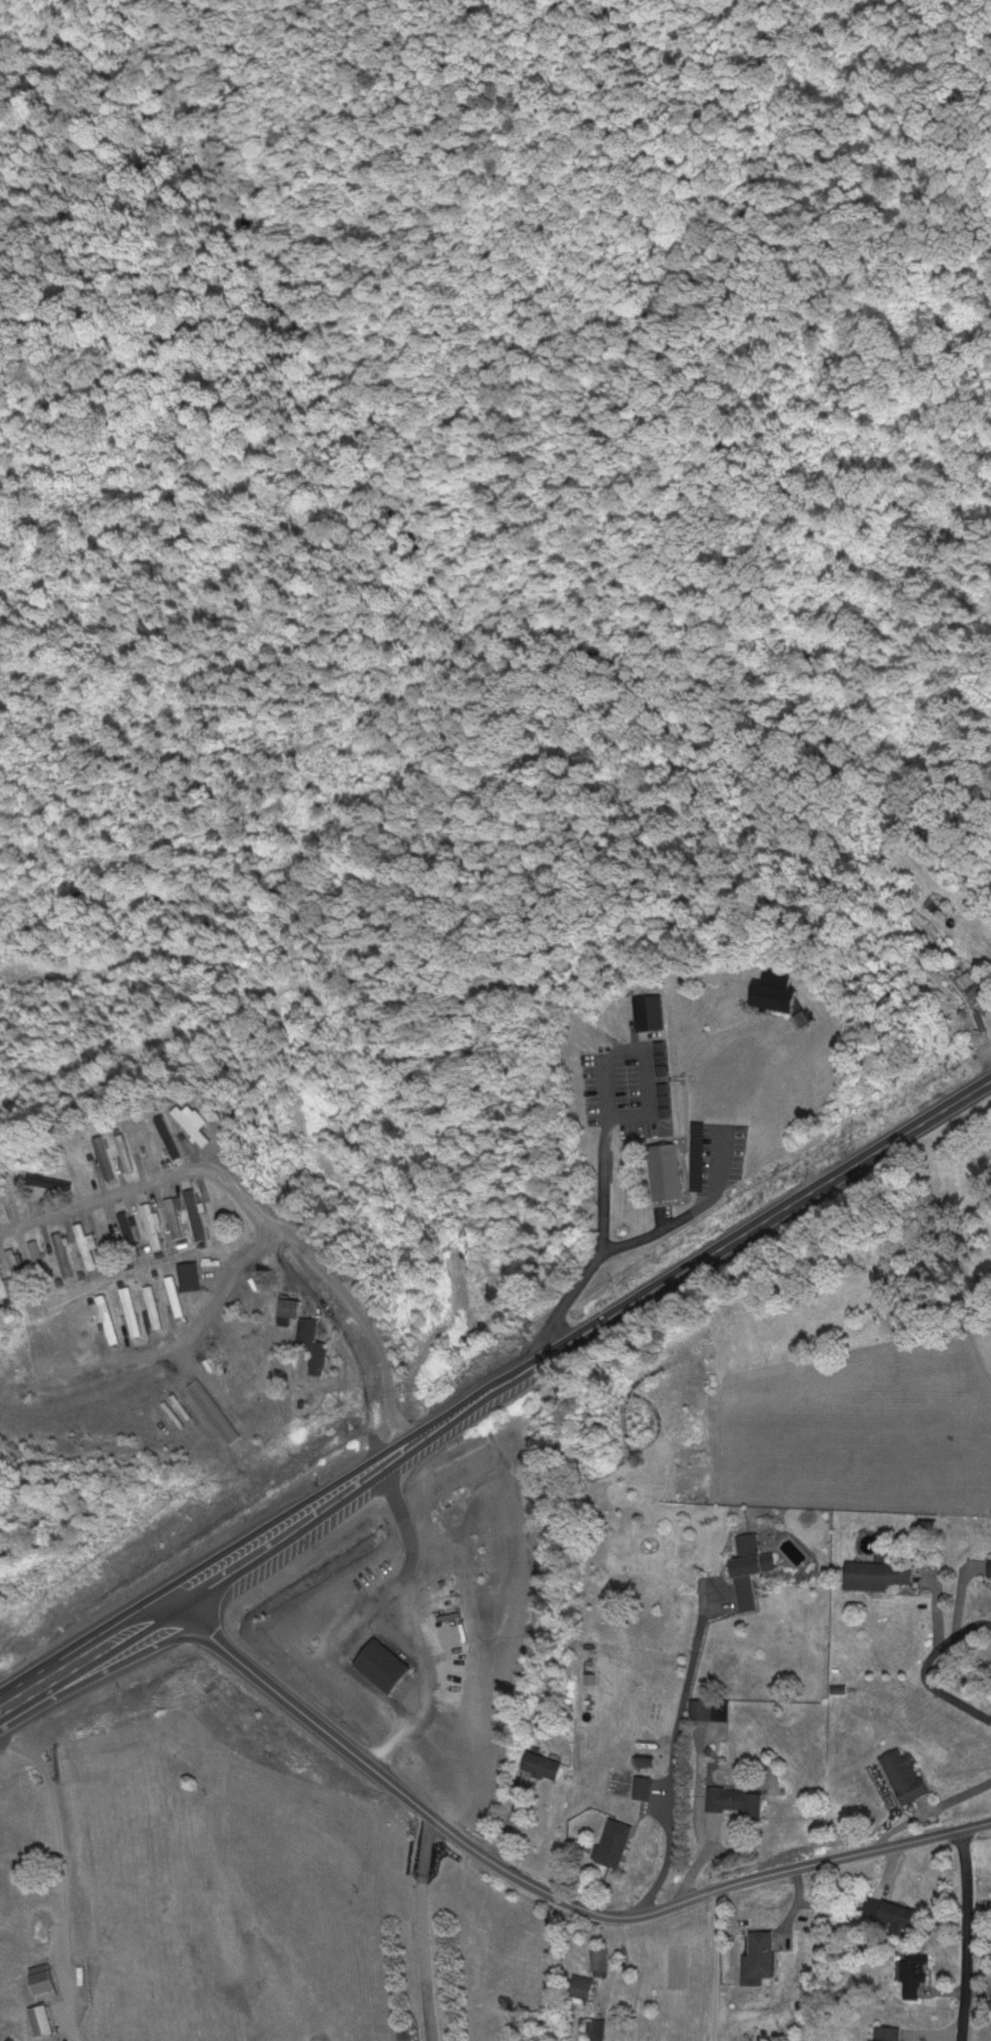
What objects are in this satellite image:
building: (519, 761)
road: (753, 969)
building: (972, 984)
building: (776, 996)
building: (648, 1011)
building: (806, 1015)
road: (335, 1090)
building: (193, 1122)
building: (124, 1151)
building: (104, 1157)
building: (667, 1171)
building: (14, 1187)
road: (255, 1210)
building: (195, 1213)
building: (173, 1215)
building: (150, 1223)
building: (129, 1233)
building: (106, 1235)
road: (636, 1241)
building: (63, 1254)
building: (39, 1259)
building: (18, 1268)
building: (189, 1276)
road: (222, 1288)
building: (173, 1295)
building: (151, 1307)
building: (128, 1311)
building: (106, 1318)
building: (305, 1334)
road: (496, 1386)
building: (212, 1411)
building: (750, 1567)
building: (990, 1568)
building: (876, 1573)
road: (418, 1618)
building: (383, 1663)
road: (924, 1669)
building: (701, 1707)
road: (669, 1760)
building: (541, 1764)
building: (904, 1774)
building: (642, 1785)
building: (734, 1799)
building: (614, 1841)
road: (473, 1848)
building: (896, 1917)
building: (40, 1927)
road: (422, 1928)
road: (965, 1935)
road: (611, 1948)
building: (599, 1955)
building: (758, 1957)
road: (713, 1965)
building: (913, 1972)
building: (43, 1981)
building: (581, 1987)
building: (592, 2026)
building: (886, 2032)

